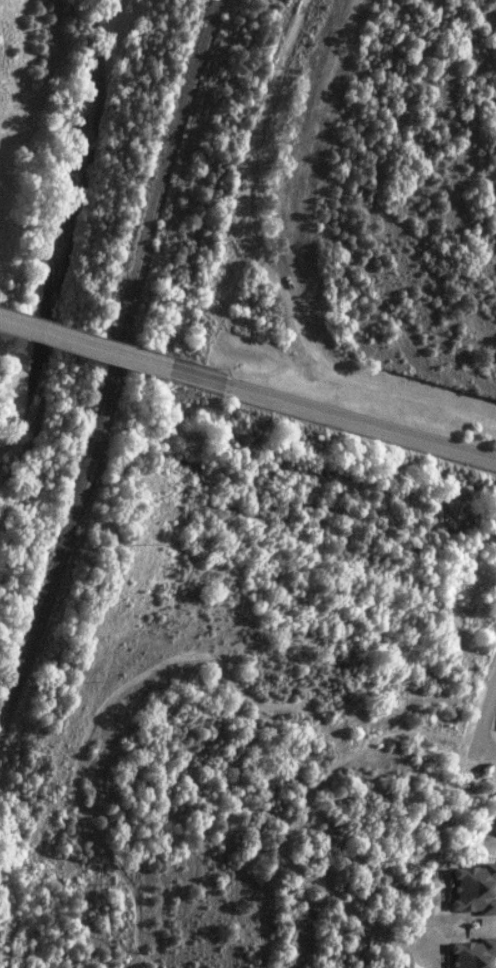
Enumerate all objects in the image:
road: (74, 340)
railway: (113, 365)
road: (321, 409)
road: (483, 715)
building: (494, 827)
building: (473, 887)
building: (474, 953)

